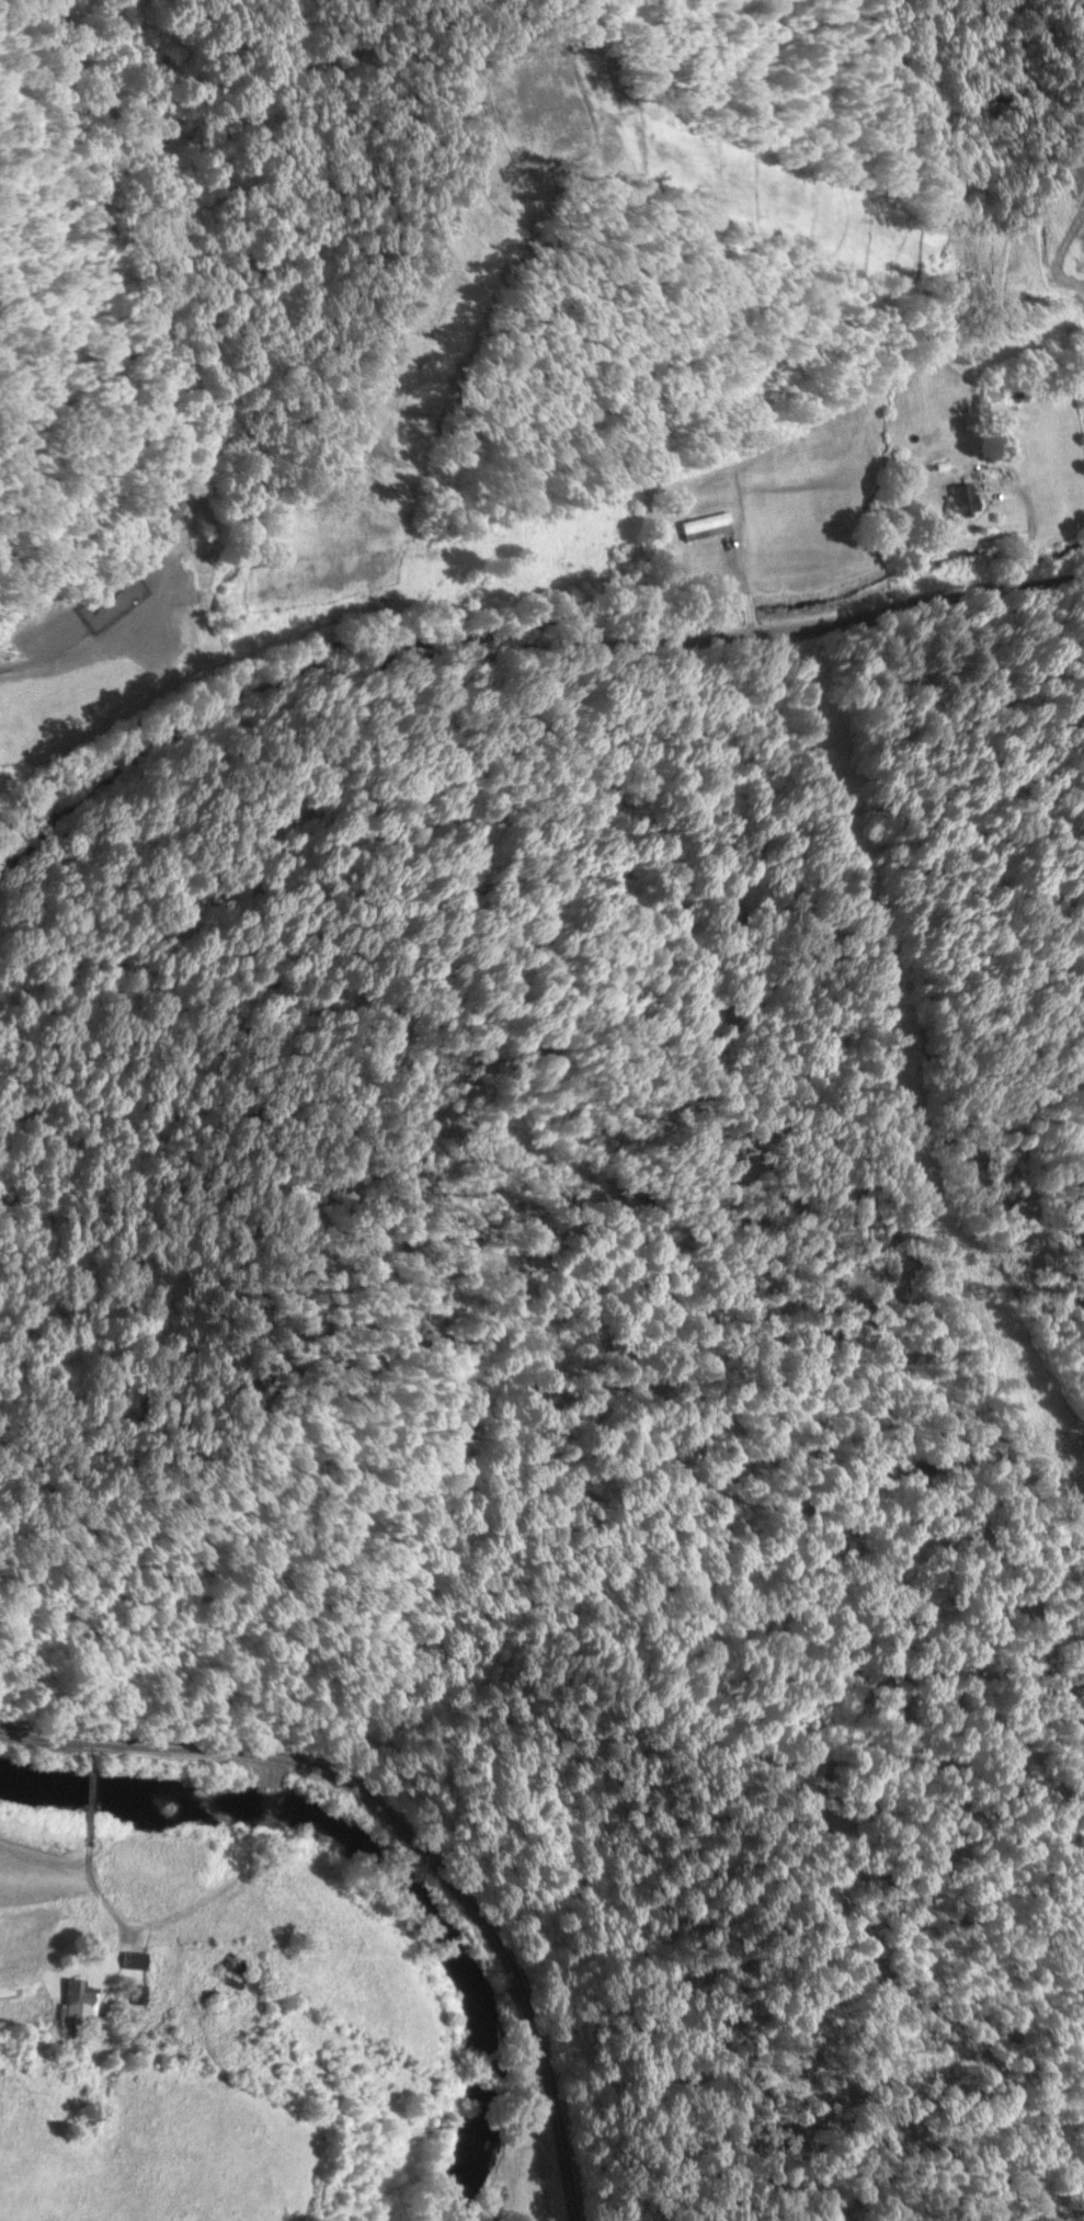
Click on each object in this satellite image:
building: (956, 500)
building: (161, 513)
building: (701, 526)
building: (185, 537)
road: (524, 645)
road: (134, 1742)
road: (82, 1745)
road: (83, 1797)
river: (379, 1857)
road: (92, 1889)
road: (183, 1910)
road: (491, 1938)
building: (129, 1960)
building: (227, 1969)
building: (137, 1994)
building: (206, 1995)
building: (76, 2006)

